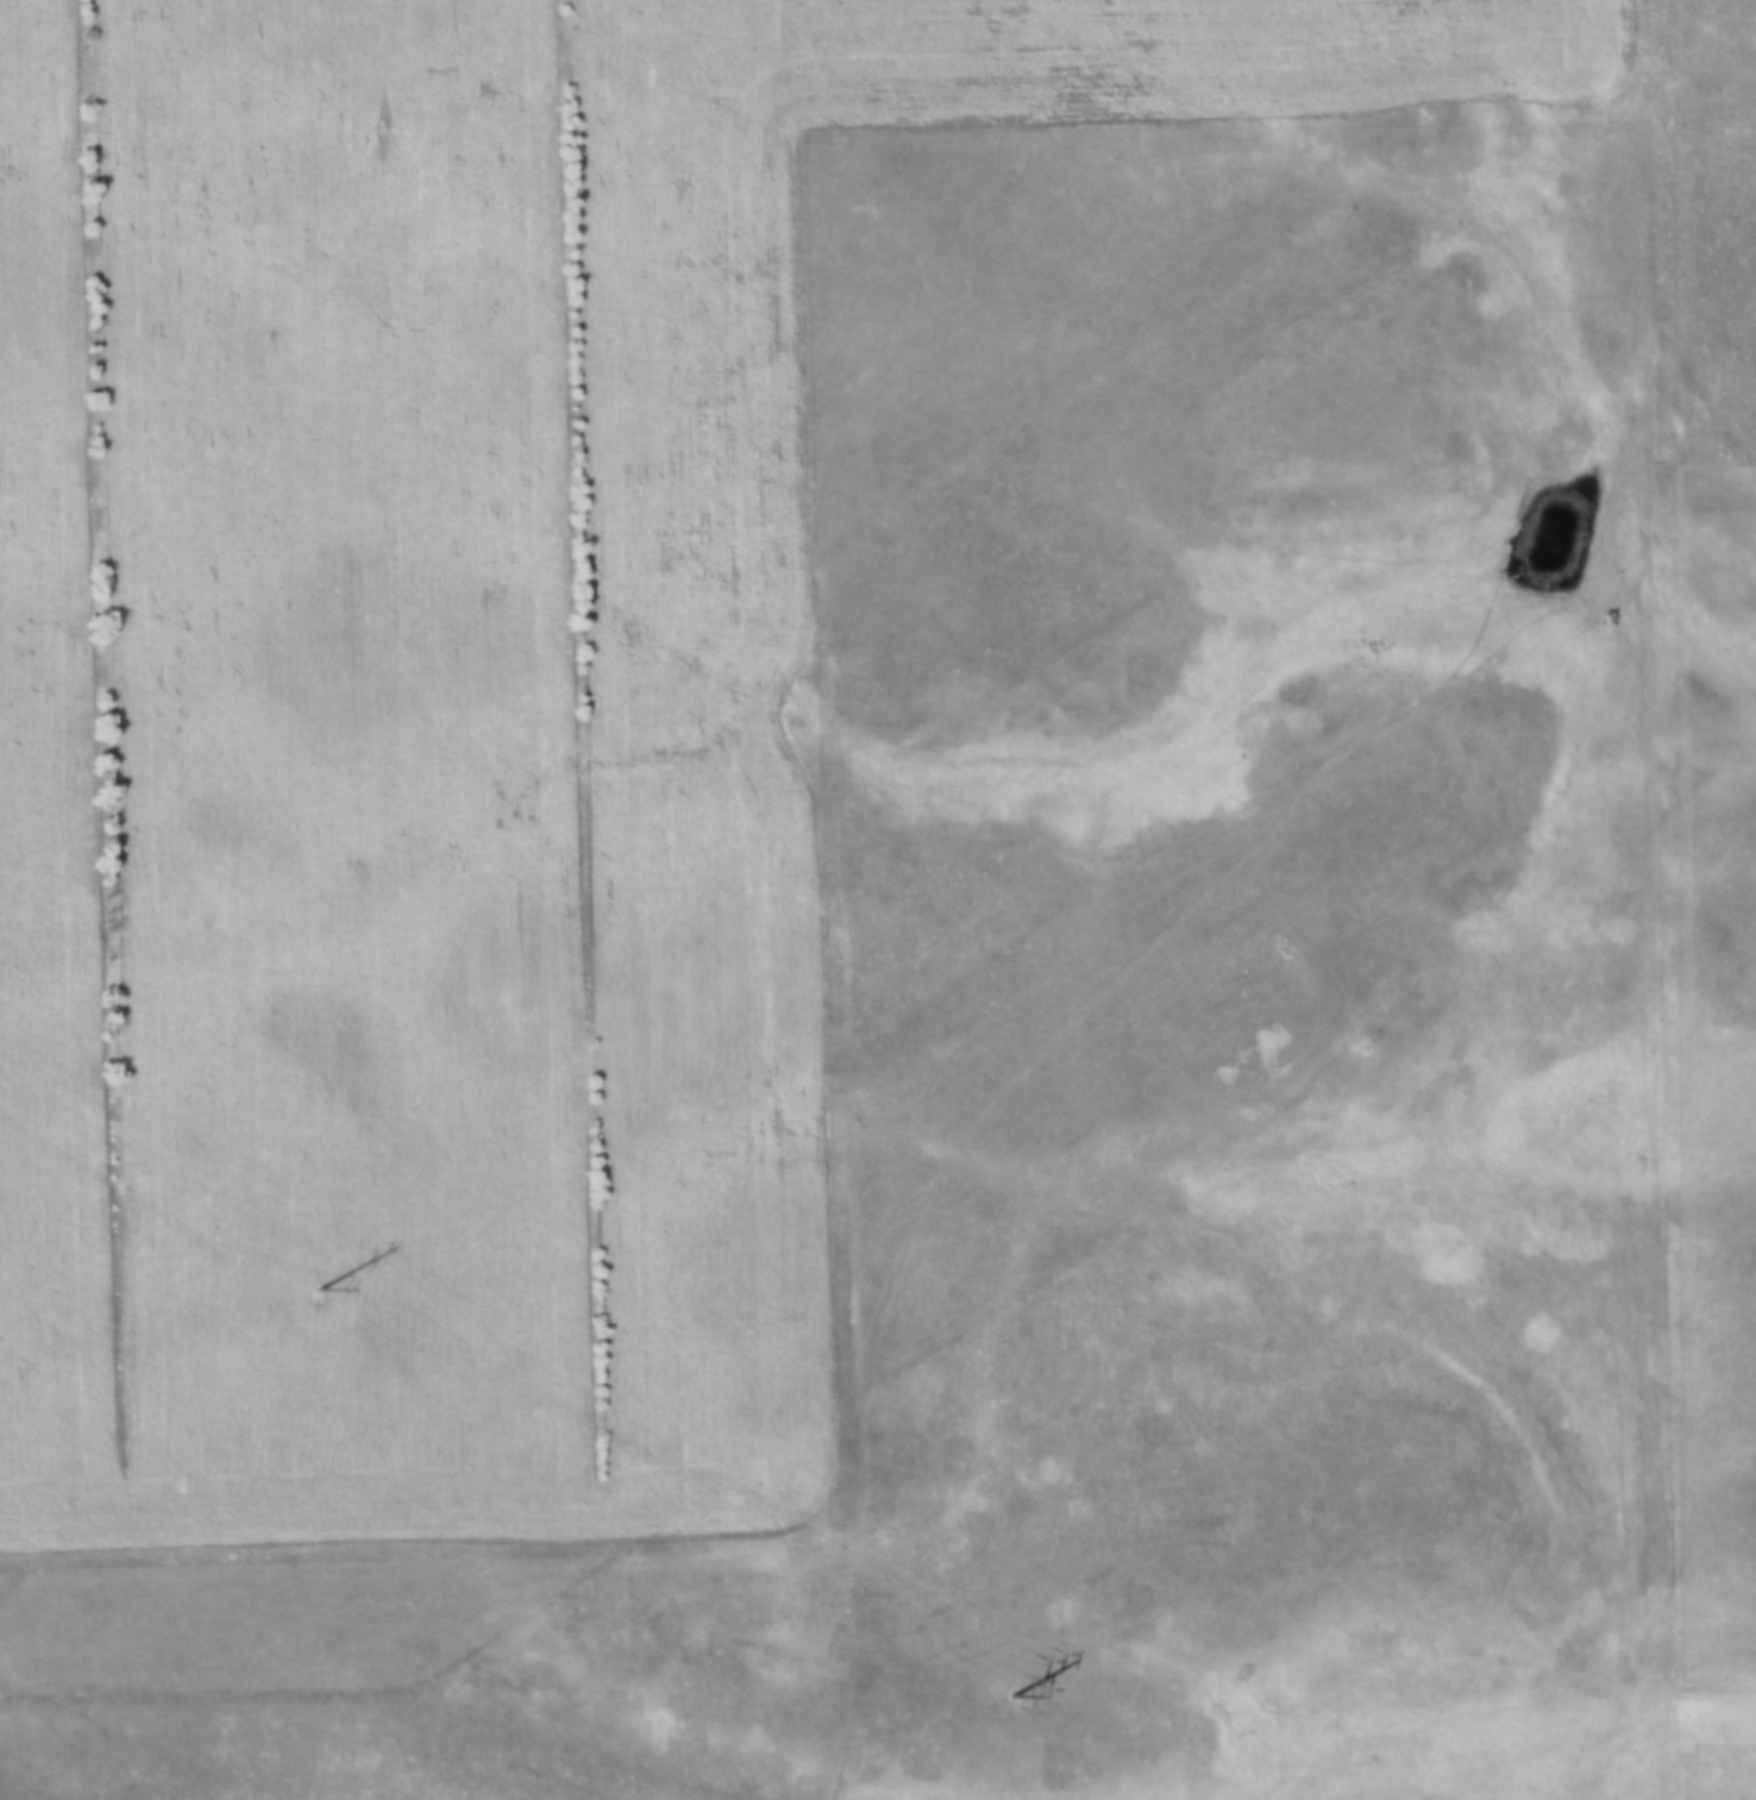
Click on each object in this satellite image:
power tower: (319, 1284)
road: (858, 1288)
power tower: (1008, 1686)

